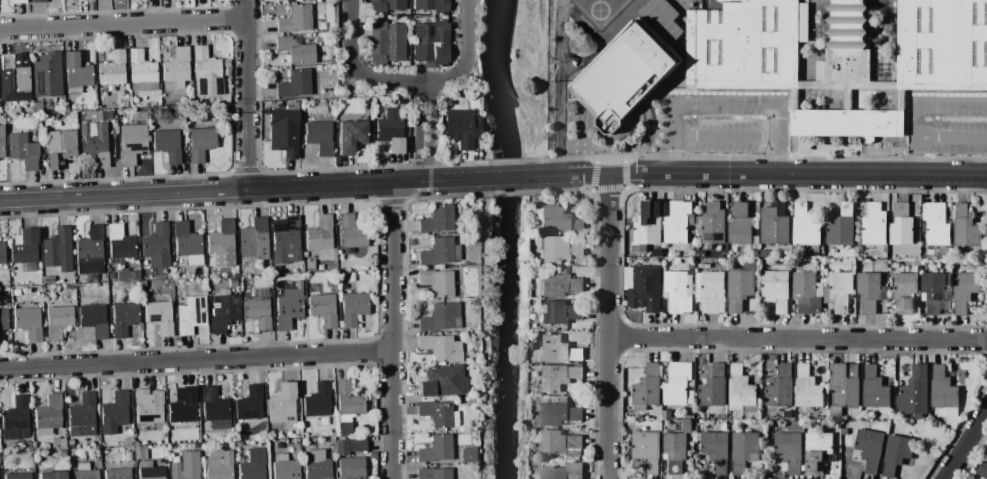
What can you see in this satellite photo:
building: (38, 0)
building: (81, 0)
building: (297, 0)
building: (18, 1)
building: (385, 5)
building: (432, 5)
building: (295, 19)
building: (662, 19)
road: (124, 23)
building: (385, 42)
building: (431, 43)
building: (296, 50)
building: (839, 56)
building: (226, 64)
building: (177, 67)
building: (113, 69)
building: (141, 71)
building: (226, 71)
building: (76, 73)
building: (206, 73)
building: (47, 75)
building: (625, 76)
building: (14, 78)
road: (409, 79)
building: (227, 81)
building: (295, 83)
road: (247, 94)
road: (728, 98)
road: (917, 101)
building: (42, 106)
road: (560, 106)
building: (56, 116)
parking lot: (728, 122)
parking lot: (947, 122)
building: (52, 125)
building: (460, 127)
building: (285, 130)
building: (391, 130)
road: (420, 130)
road: (430, 130)
building: (320, 136)
building: (352, 136)
road: (728, 136)
road: (952, 137)
building: (132, 139)
building: (95, 142)
building: (2, 143)
building: (200, 143)
building: (167, 145)
building: (60, 147)
building: (23, 150)
road: (358, 167)
road: (246, 169)
road: (605, 174)
road: (831, 174)
road: (511, 177)
road: (116, 178)
road: (365, 183)
road: (123, 194)
road: (392, 202)
road: (188, 208)
building: (438, 219)
building: (559, 221)
building: (678, 222)
building: (872, 222)
building: (649, 223)
building: (742, 223)
building: (713, 224)
building: (774, 224)
building: (936, 224)
building: (901, 226)
building: (841, 227)
building: (965, 228)
building: (805, 229)
building: (352, 231)
building: (320, 234)
building: (221, 237)
building: (186, 239)
building: (254, 239)
building: (156, 241)
building: (286, 242)
building: (121, 243)
building: (56, 245)
building: (24, 246)
building: (559, 249)
building: (90, 251)
building: (440, 251)
building: (2, 252)
building: (690, 252)
building: (944, 252)
building: (763, 253)
building: (884, 254)
building: (916, 262)
building: (750, 263)
building: (310, 265)
building: (276, 268)
building: (211, 270)
building: (169, 271)
building: (234, 272)
building: (112, 275)
building: (127, 275)
building: (352, 276)
building: (48, 279)
building: (232, 282)
building: (437, 282)
building: (558, 283)
building: (342, 286)
building: (643, 287)
building: (739, 288)
building: (775, 289)
building: (964, 289)
building: (679, 291)
building: (710, 291)
building: (839, 291)
building: (870, 291)
building: (16, 292)
building: (805, 292)
building: (904, 292)
building: (934, 292)
building: (289, 306)
building: (352, 308)
building: (323, 309)
building: (224, 311)
building: (257, 311)
building: (559, 312)
building: (190, 314)
building: (160, 317)
building: (441, 317)
building: (124, 318)
building: (3, 319)
building: (94, 319)
building: (58, 321)
building: (28, 322)
road: (608, 326)
road: (393, 330)
road: (797, 338)
building: (531, 346)
building: (441, 347)
building: (558, 349)
road: (196, 359)
building: (557, 377)
building: (443, 381)
building: (678, 385)
building: (843, 386)
building: (647, 387)
building: (713, 388)
building: (780, 388)
building: (807, 388)
building: (874, 389)
building: (742, 391)
building: (943, 392)
building: (914, 393)
building: (318, 400)
building: (249, 403)
building: (282, 404)
building: (348, 405)
building: (148, 406)
building: (181, 407)
building: (212, 407)
building: (558, 412)
building: (114, 413)
building: (436, 413)
building: (48, 415)
building: (787, 415)
building: (82, 416)
building: (16, 417)
building: (323, 420)
building: (170, 438)
building: (311, 439)
building: (70, 442)
building: (58, 443)
building: (357, 444)
building: (558, 444)
road: (965, 444)
building: (27, 445)
building: (192, 445)
building: (278, 445)
building: (341, 447)
building: (869, 448)
building: (437, 449)
building: (646, 450)
building: (716, 450)
building: (744, 450)
building: (788, 450)
building: (674, 451)
building: (140, 452)
building: (817, 452)
building: (896, 453)
building: (467, 454)
building: (129, 456)
building: (986, 456)
building: (217, 464)
building: (252, 464)
building: (316, 465)
building: (185, 466)
building: (284, 468)
building: (351, 468)
building: (983, 469)
building: (150, 470)
building: (84, 471)
building: (563, 471)
building: (117, 473)
building: (434, 473)
building: (17, 475)
building: (52, 475)

